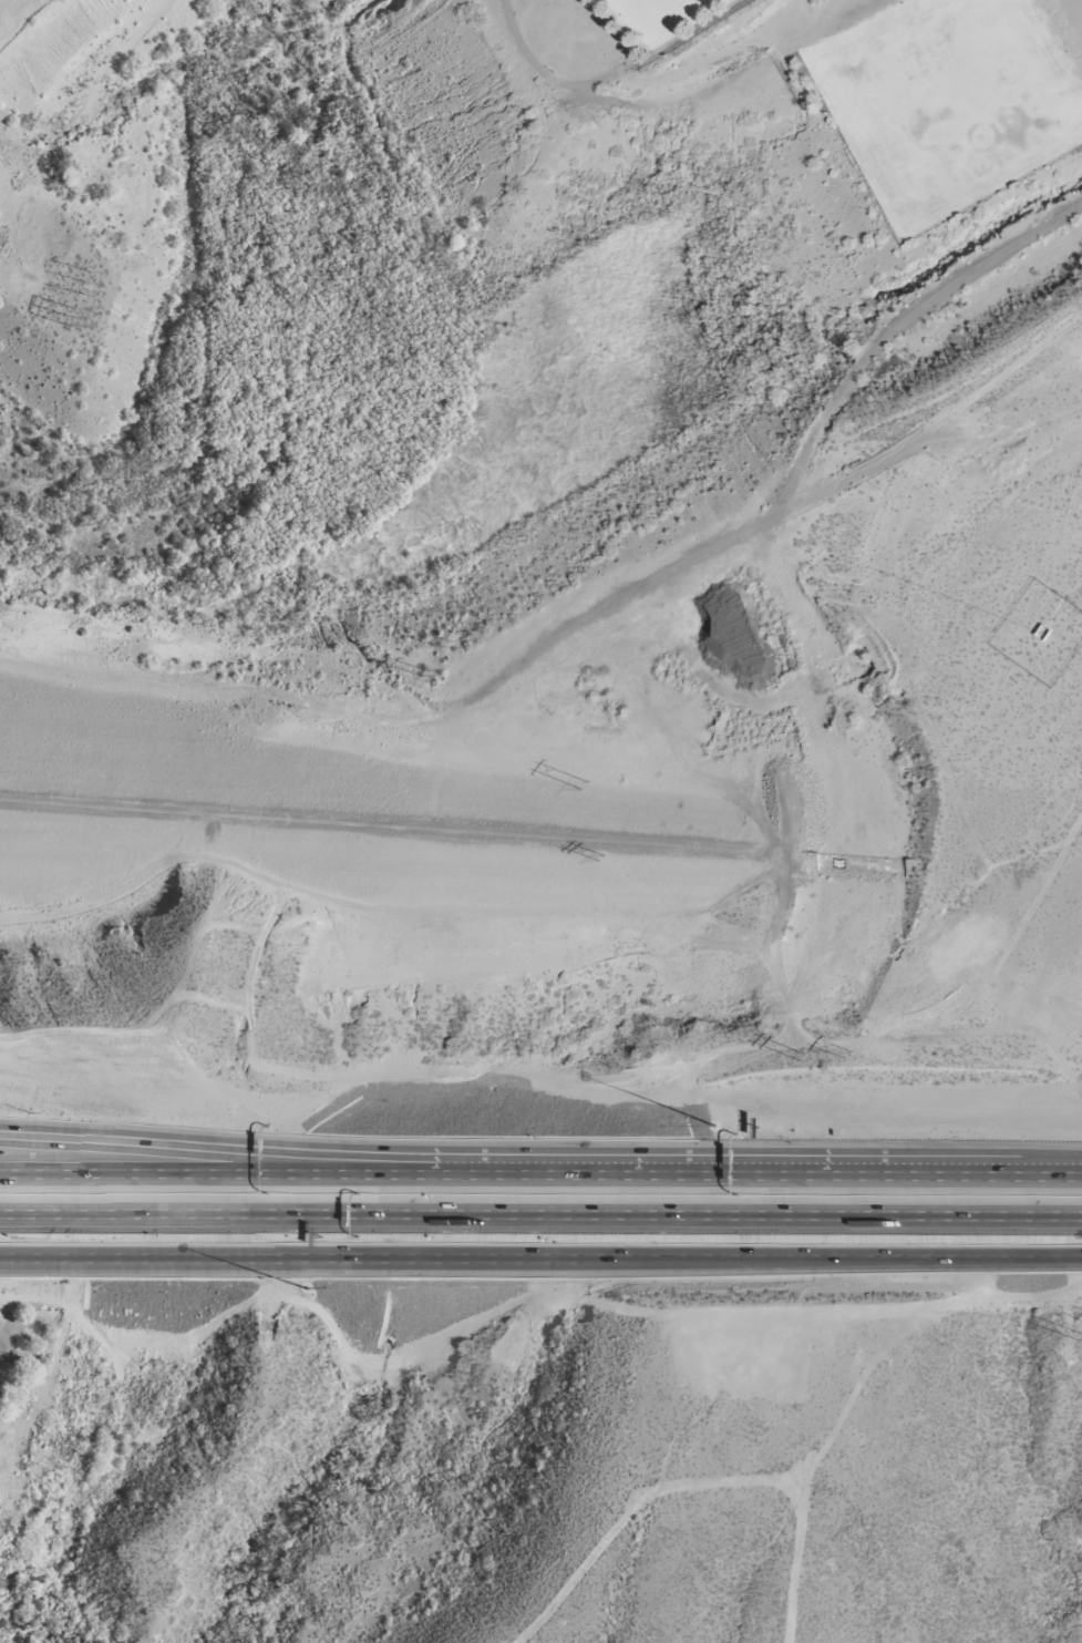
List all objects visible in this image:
road: (610, 74)
park: (857, 80)
road: (296, 1148)
road: (540, 1167)
road: (540, 1216)
road: (540, 1259)
park: (21, 1347)

